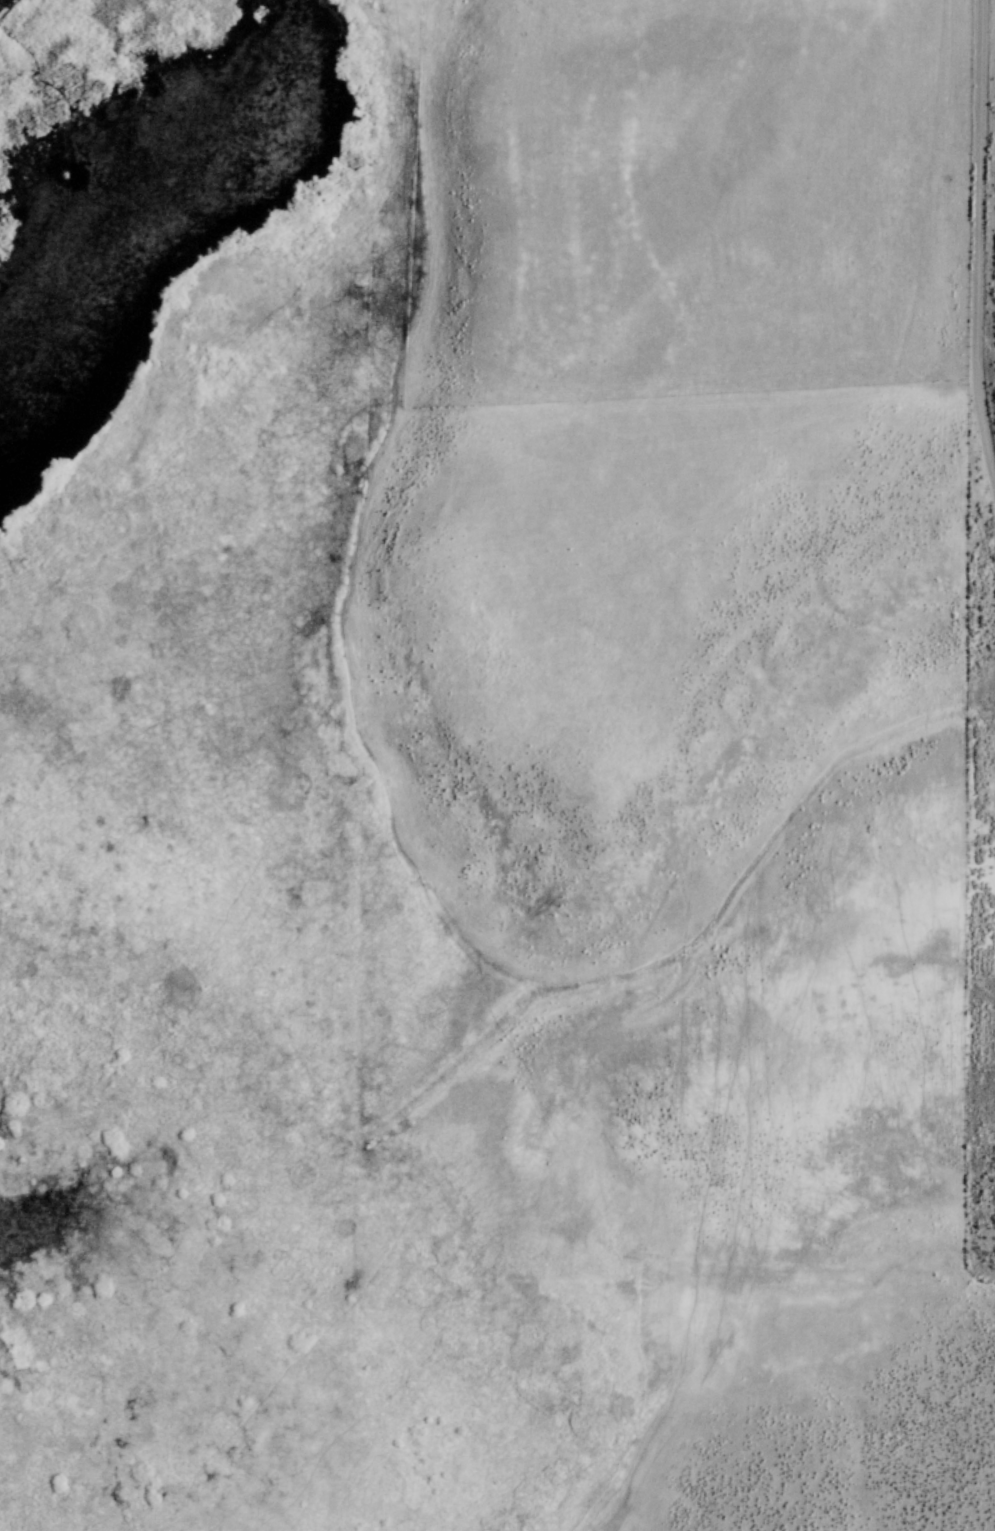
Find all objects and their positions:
road: (980, 213)

